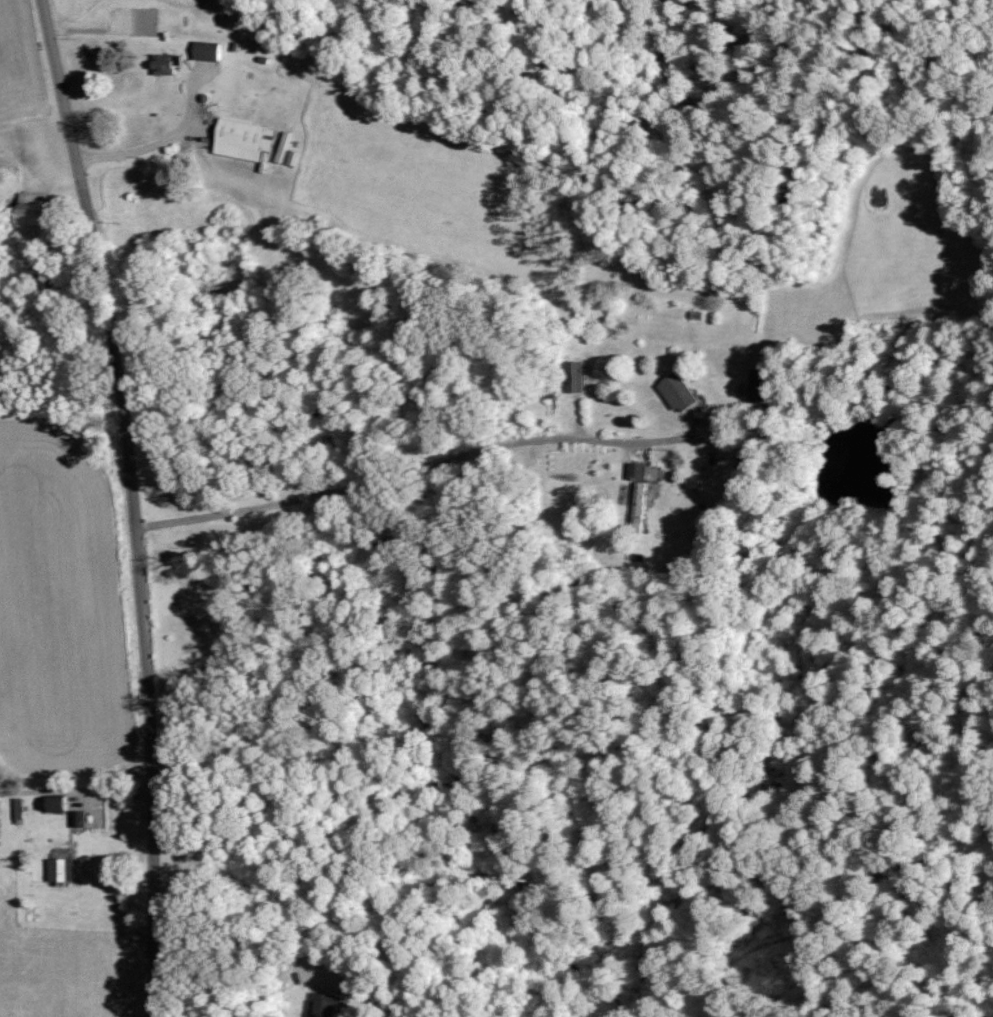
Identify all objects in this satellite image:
building: (205, 51)
building: (161, 63)
building: (241, 139)
road: (158, 141)
building: (30, 208)
building: (574, 374)
road: (526, 376)
building: (756, 384)
building: (675, 390)
road: (486, 447)
building: (638, 491)
road: (134, 504)
road: (80, 791)
building: (53, 803)
building: (59, 868)
road: (241, 936)
building: (321, 1004)

